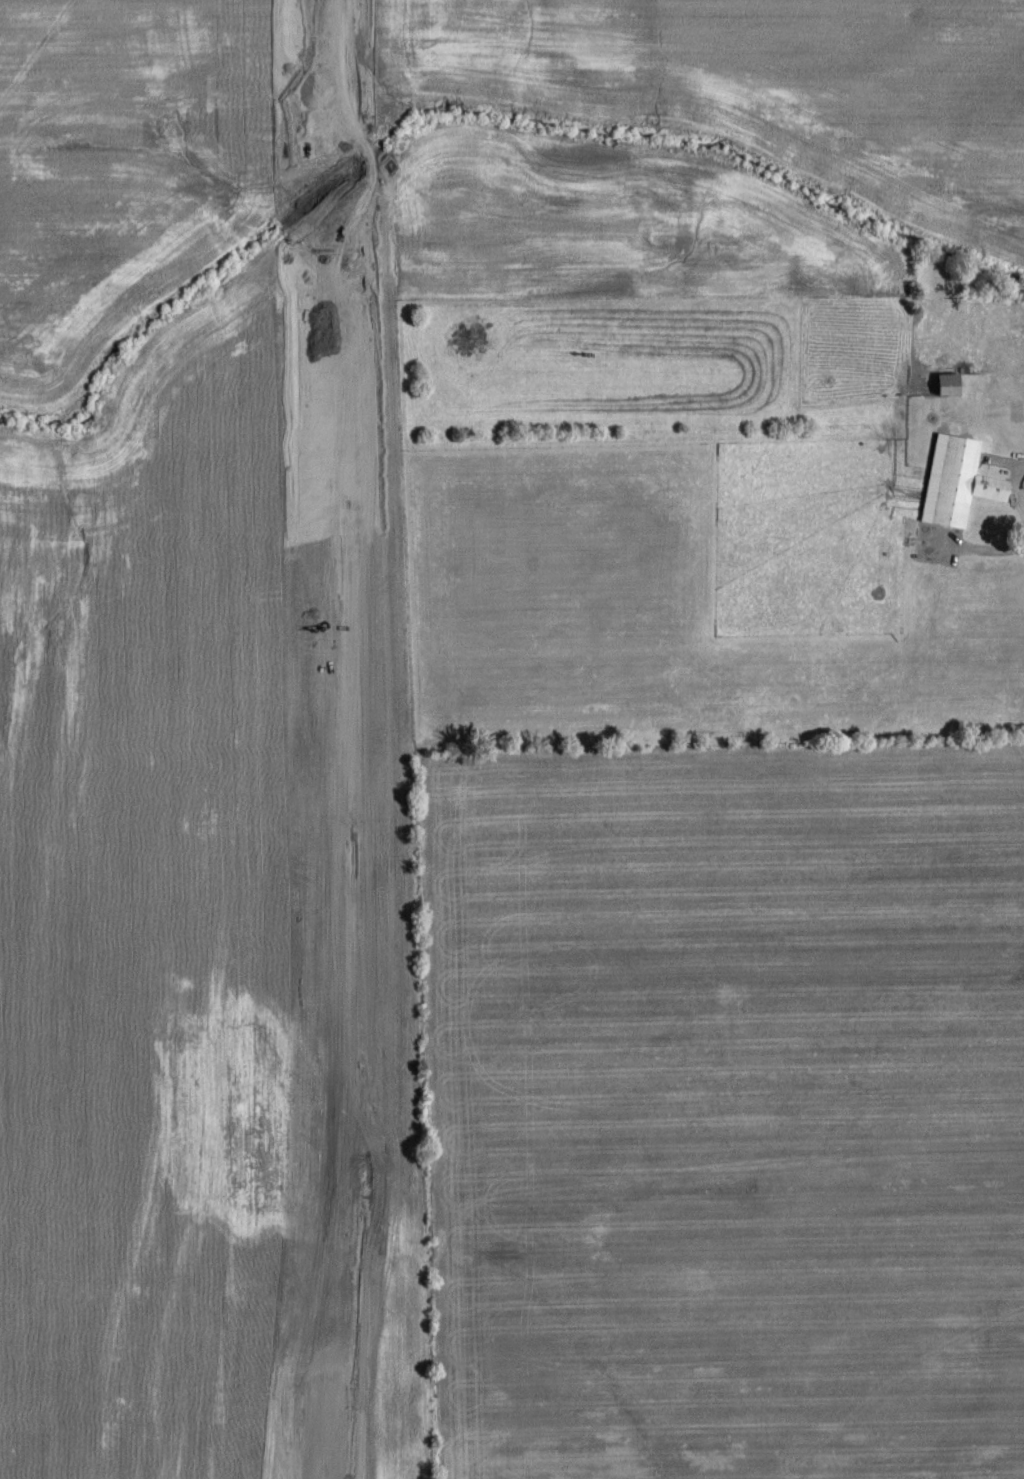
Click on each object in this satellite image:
building: (950, 381)
building: (959, 479)
road: (339, 744)

